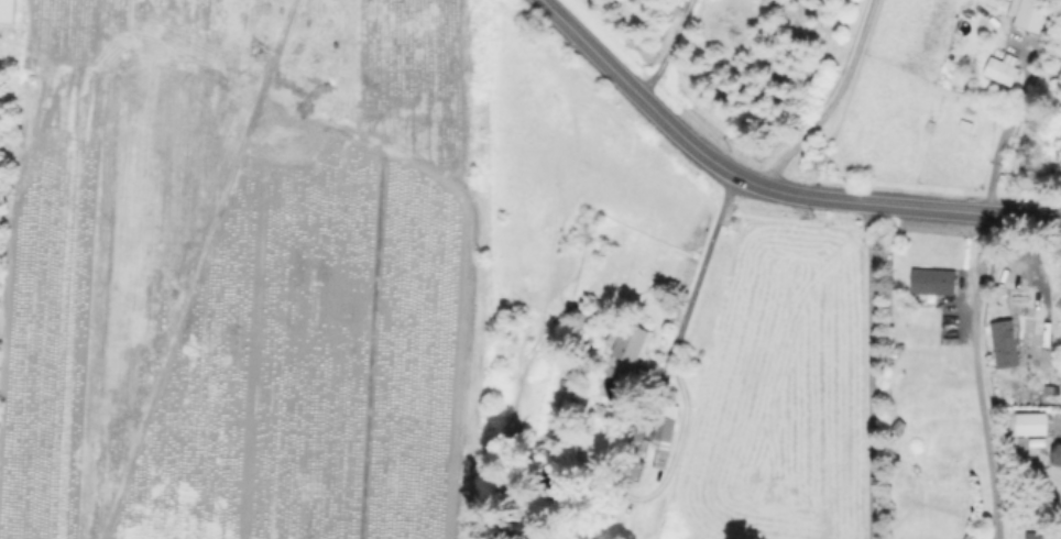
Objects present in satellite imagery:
building: (8, 11)
building: (1032, 14)
road: (664, 46)
building: (1004, 68)
road: (830, 100)
road: (768, 187)
building: (933, 282)
building: (627, 342)
building: (1005, 342)
road: (675, 343)
road: (869, 371)
road: (978, 375)
building: (899, 426)
building: (664, 431)
building: (1057, 458)
building: (635, 469)

